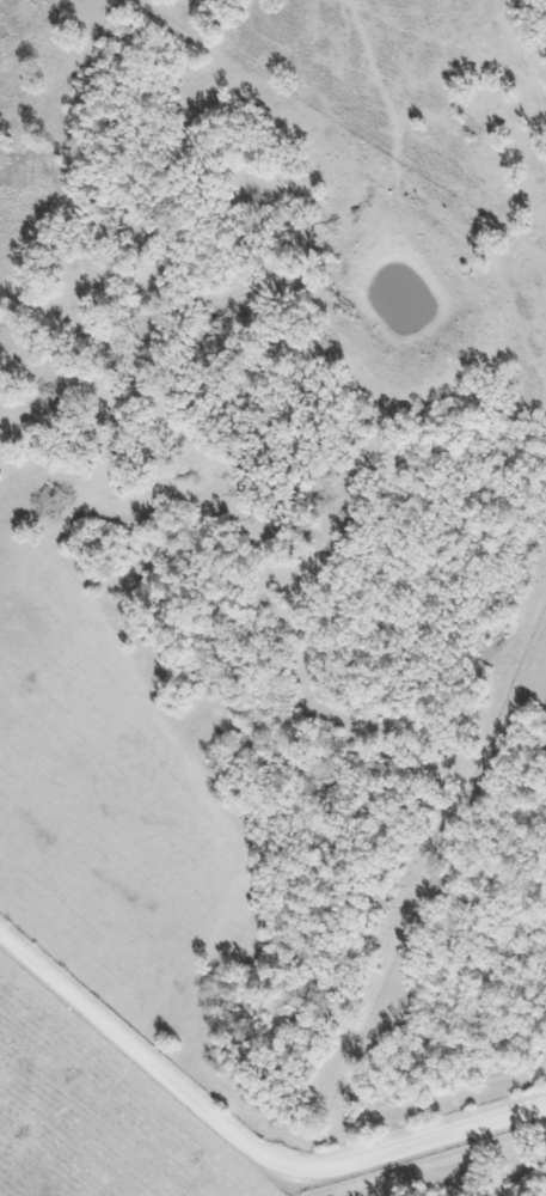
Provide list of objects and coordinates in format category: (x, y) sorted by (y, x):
road: (241, 1133)
road: (321, 1179)

